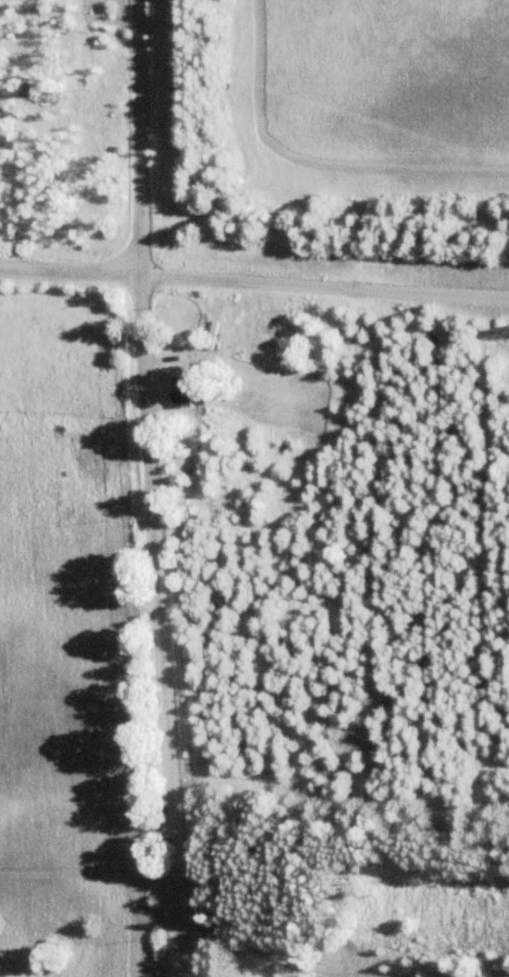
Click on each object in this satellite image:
road: (71, 272)
road: (326, 283)
building: (187, 391)
road: (157, 488)

